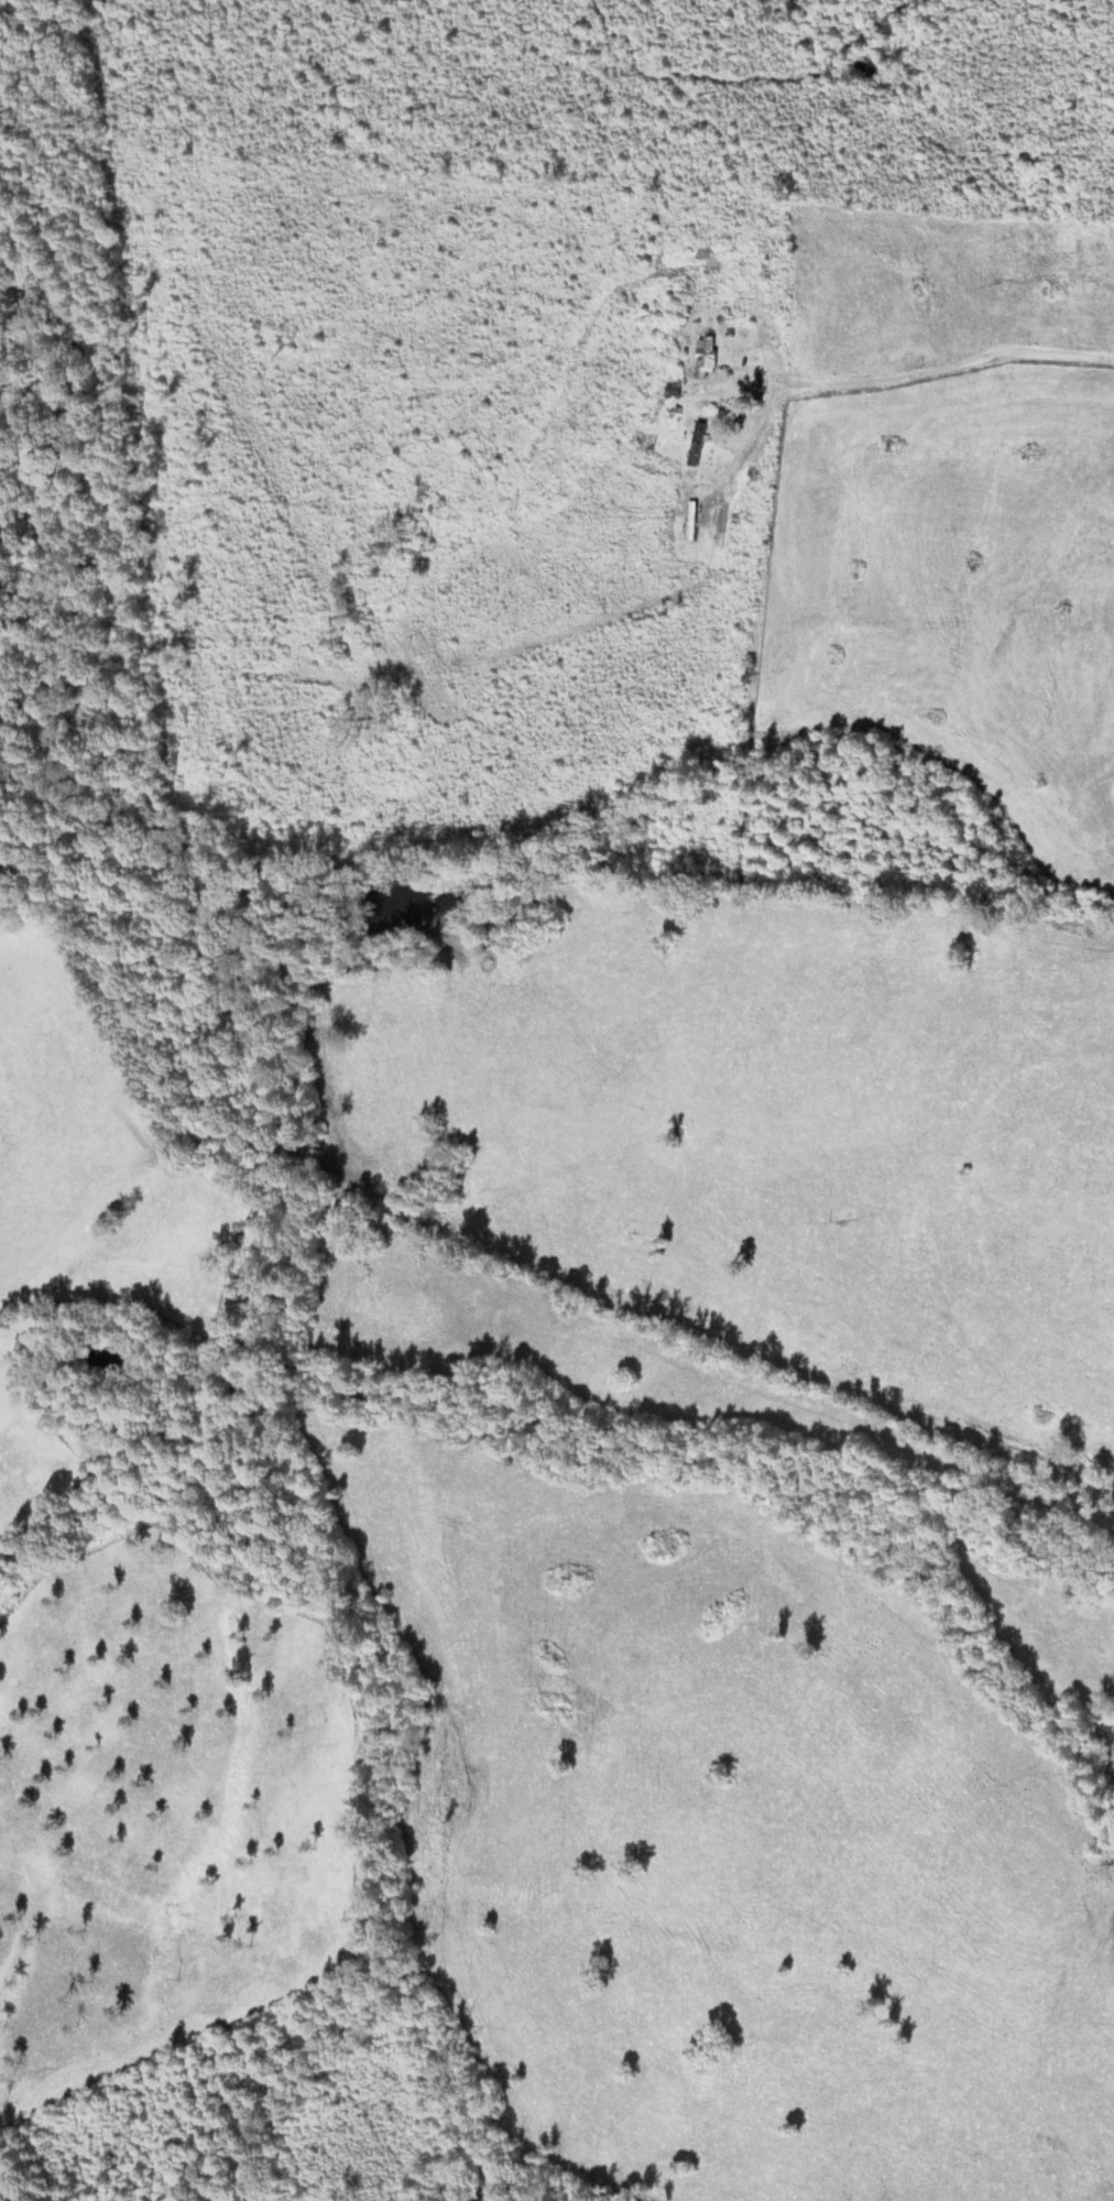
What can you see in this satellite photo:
building: (705, 358)
road: (953, 367)
road: (752, 443)
building: (692, 522)

